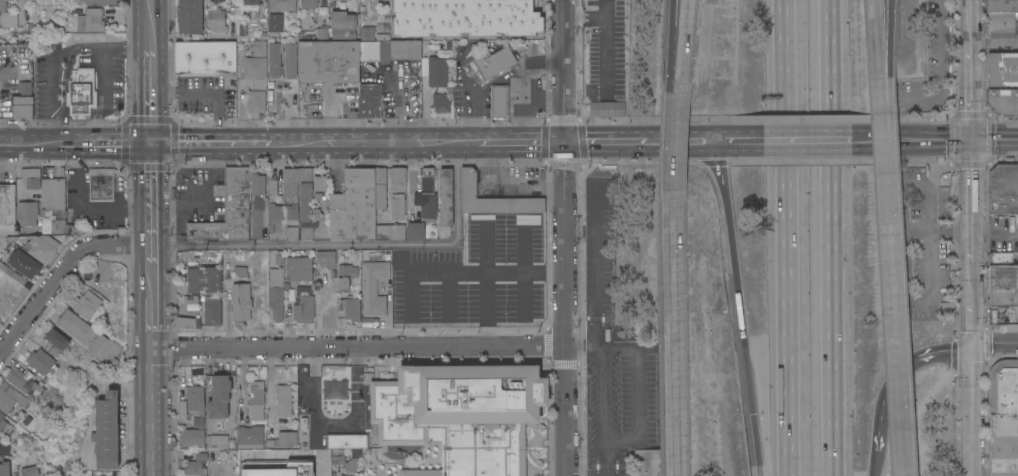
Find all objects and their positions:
building: (331, 0)
building: (97, 2)
building: (309, 3)
building: (2, 5)
building: (249, 5)
building: (282, 5)
building: (1002, 5)
road: (969, 10)
building: (190, 16)
building: (9, 19)
building: (229, 19)
building: (93, 20)
building: (216, 20)
building: (341, 20)
road: (149, 22)
building: (493, 22)
building: (275, 23)
building: (405, 24)
building: (386, 25)
building: (1000, 25)
road: (564, 30)
building: (322, 32)
building: (367, 33)
building: (343, 34)
building: (386, 35)
road: (881, 40)
road: (886, 40)
road: (675, 46)
road: (684, 46)
building: (259, 48)
building: (389, 50)
road: (59, 55)
road: (783, 57)
building: (204, 58)
building: (274, 60)
building: (290, 60)
road: (543, 61)
building: (328, 62)
building: (494, 62)
building: (1002, 69)
building: (256, 71)
building: (437, 71)
building: (604, 76)
road: (102, 78)
road: (971, 81)
road: (476, 90)
building: (82, 92)
road: (150, 94)
building: (370, 100)
building: (1003, 100)
building: (257, 101)
building: (22, 102)
building: (498, 102)
gas station: (498, 102)
road: (565, 102)
building: (441, 103)
road: (523, 103)
road: (97, 127)
road: (923, 140)
road: (995, 140)
road: (819, 141)
traffic signals: (972, 141)
road: (683, 142)
road: (741, 142)
road: (498, 143)
road: (544, 143)
traffic signals: (565, 143)
road: (607, 143)
road: (107, 144)
traffic signals: (150, 144)
road: (209, 144)
road: (370, 144)
road: (31, 145)
road: (676, 149)
building: (1008, 160)
building: (304, 174)
building: (30, 177)
building: (399, 178)
building: (290, 181)
building: (320, 182)
building: (102, 184)
building: (380, 187)
road: (565, 187)
building: (1003, 188)
building: (272, 189)
building: (51, 195)
road: (150, 195)
road: (202, 196)
building: (290, 199)
building: (446, 199)
building: (492, 199)
building: (258, 203)
road: (972, 205)
building: (353, 206)
building: (397, 207)
building: (423, 208)
road: (596, 208)
building: (7, 209)
building: (227, 210)
building: (305, 211)
building: (27, 213)
building: (274, 216)
building: (292, 221)
building: (53, 227)
building: (69, 229)
building: (415, 231)
road: (581, 231)
building: (382, 232)
building: (396, 232)
road: (833, 238)
road: (353, 244)
building: (42, 247)
building: (277, 259)
building: (326, 259)
building: (1000, 259)
building: (24, 263)
building: (299, 269)
road: (150, 270)
building: (13, 273)
road: (61, 273)
road: (489, 275)
building: (346, 276)
building: (1003, 276)
road: (896, 278)
building: (203, 279)
building: (374, 288)
road: (597, 290)
building: (276, 293)
road: (785, 295)
building: (189, 299)
building: (1004, 300)
building: (241, 301)
building: (304, 304)
building: (84, 307)
building: (351, 308)
road: (738, 308)
road: (972, 310)
building: (212, 311)
building: (188, 321)
road: (150, 322)
building: (366, 322)
building: (76, 326)
building: (58, 339)
road: (676, 341)
building: (98, 343)
road: (582, 343)
road: (995, 345)
road: (359, 348)
traffic signals: (973, 351)
road: (567, 353)
building: (42, 361)
road: (897, 373)
building: (21, 380)
road: (637, 391)
road: (602, 394)
building: (220, 396)
building: (11, 397)
building: (195, 400)
building: (284, 400)
building: (256, 401)
building: (181, 406)
road: (151, 413)
road: (973, 413)
building: (454, 416)
building: (1003, 417)
building: (2, 421)
building: (197, 421)
building: (46, 430)
building: (106, 430)
building: (250, 436)
building: (193, 437)
building: (285, 438)
building: (217, 441)
building: (4, 449)
building: (356, 453)
building: (201, 456)
building: (337, 456)
road: (607, 458)
road: (873, 463)
building: (351, 465)
building: (4, 466)
building: (195, 468)
building: (275, 468)
building: (29, 471)

